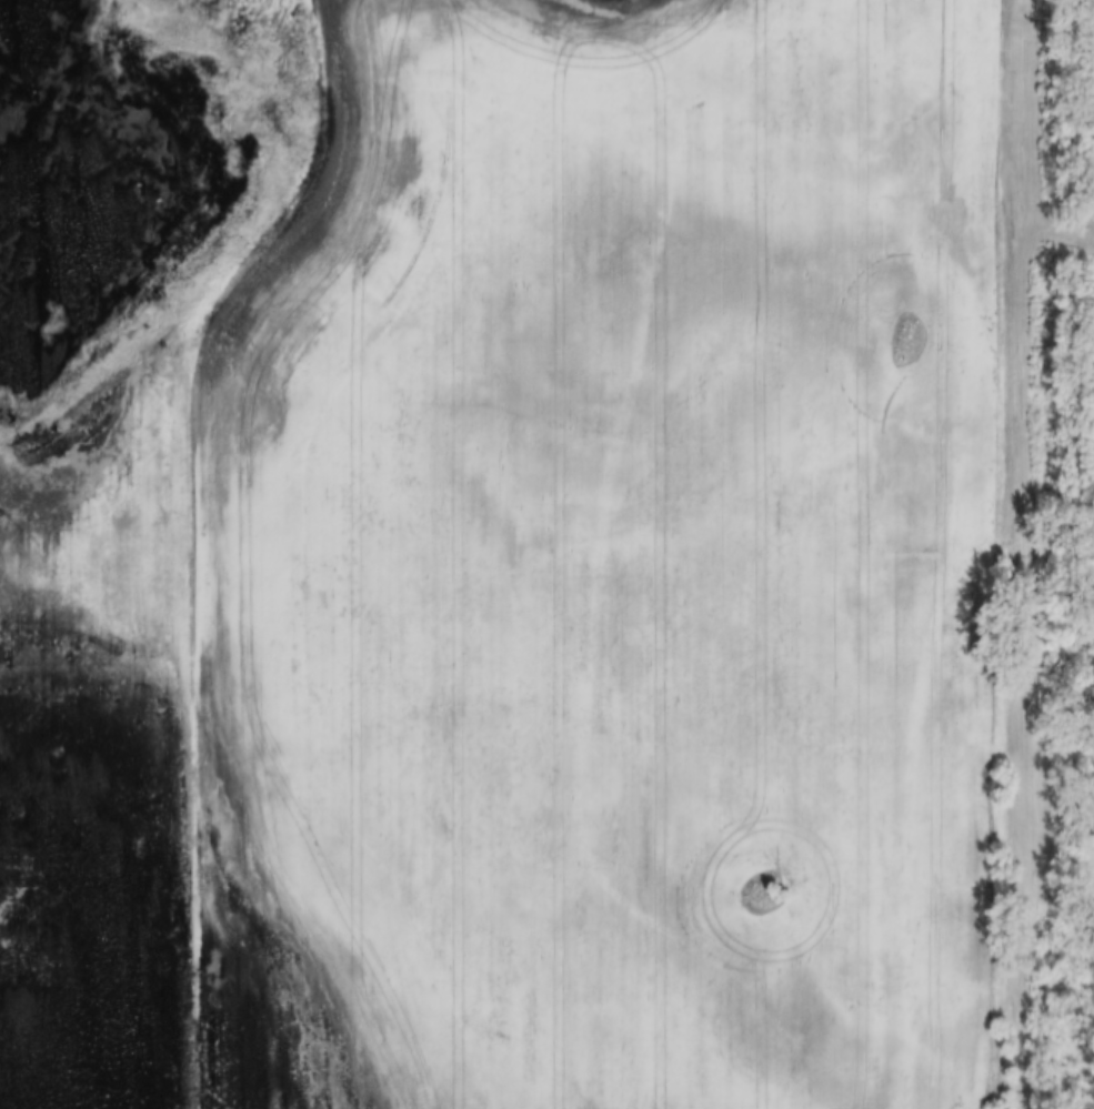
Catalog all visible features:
road: (1015, 554)

